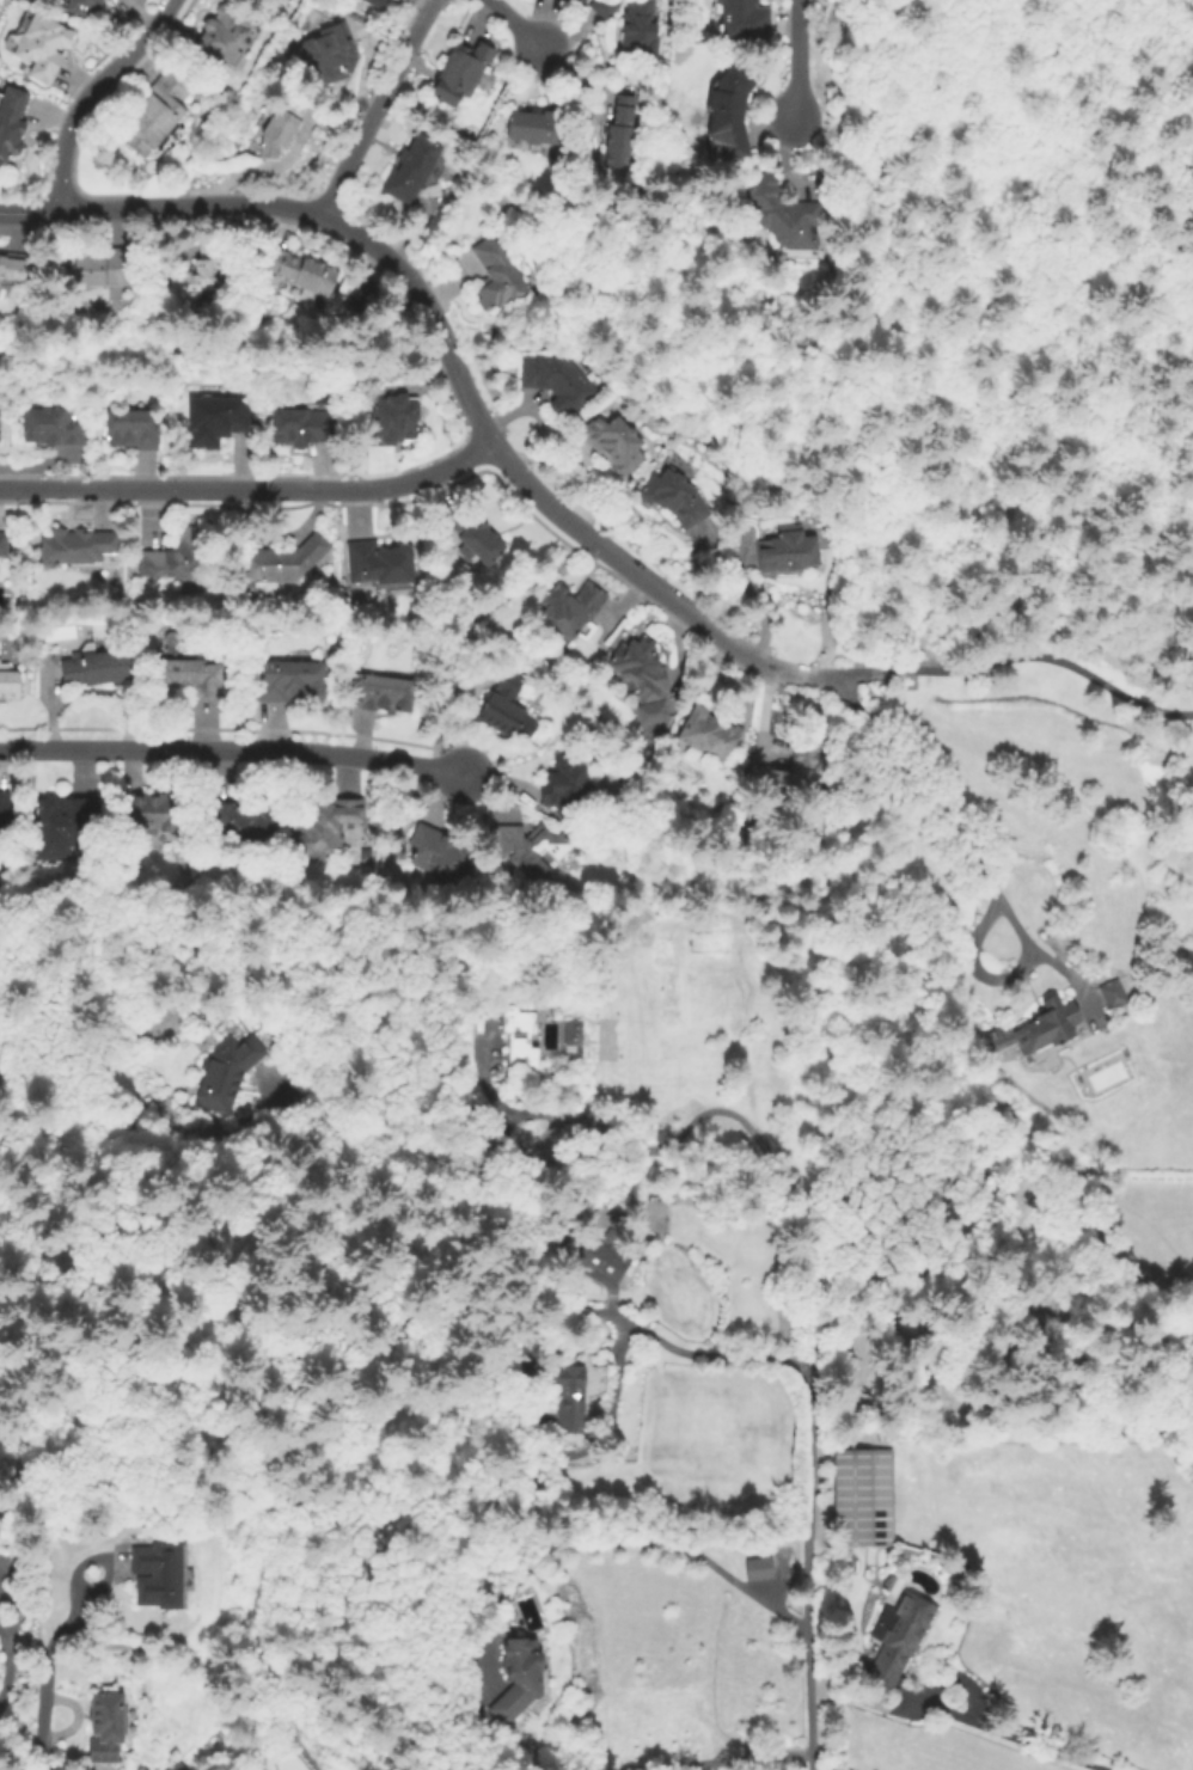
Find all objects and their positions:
building: (378, 4)
building: (85, 7)
building: (605, 8)
building: (744, 20)
road: (512, 24)
building: (640, 27)
building: (220, 36)
building: (42, 47)
building: (330, 56)
road: (797, 59)
building: (460, 72)
road: (86, 93)
road: (377, 109)
building: (730, 111)
building: (155, 114)
building: (11, 122)
building: (282, 124)
building: (536, 127)
building: (622, 134)
building: (411, 167)
road: (1112, 209)
building: (783, 214)
road: (30, 215)
road: (1151, 232)
road: (1073, 247)
building: (13, 267)
building: (104, 269)
building: (300, 270)
building: (198, 271)
building: (497, 276)
park: (1008, 311)
building: (557, 380)
road: (470, 402)
building: (218, 419)
building: (391, 421)
building: (304, 427)
building: (0, 428)
building: (54, 428)
building: (133, 429)
building: (614, 443)
road: (251, 491)
building: (675, 498)
building: (475, 538)
building: (4, 545)
building: (78, 547)
building: (788, 552)
building: (176, 558)
building: (281, 562)
building: (380, 563)
road: (975, 570)
building: (571, 607)
road: (461, 629)
building: (171, 638)
road: (1034, 655)
building: (97, 667)
building: (643, 675)
building: (186, 678)
building: (8, 680)
building: (292, 681)
building: (383, 693)
building: (508, 708)
building: (710, 734)
road: (231, 753)
building: (793, 778)
building: (564, 784)
building: (151, 814)
building: (5, 816)
building: (244, 821)
building: (66, 825)
building: (325, 826)
building: (374, 829)
building: (530, 851)
building: (439, 855)
road: (977, 866)
building: (1114, 996)
building: (1038, 1028)
building: (518, 1037)
building: (226, 1073)
road: (655, 1135)
building: (611, 1254)
road: (709, 1354)
building: (571, 1397)
building: (863, 1499)
road: (559, 1547)
building: (759, 1569)
building: (157, 1575)
road: (812, 1591)
building: (898, 1639)
road: (1, 1655)
road: (47, 1679)
building: (519, 1679)
building: (104, 1729)
road: (998, 1737)
road: (736, 1757)
building: (175, 1766)

